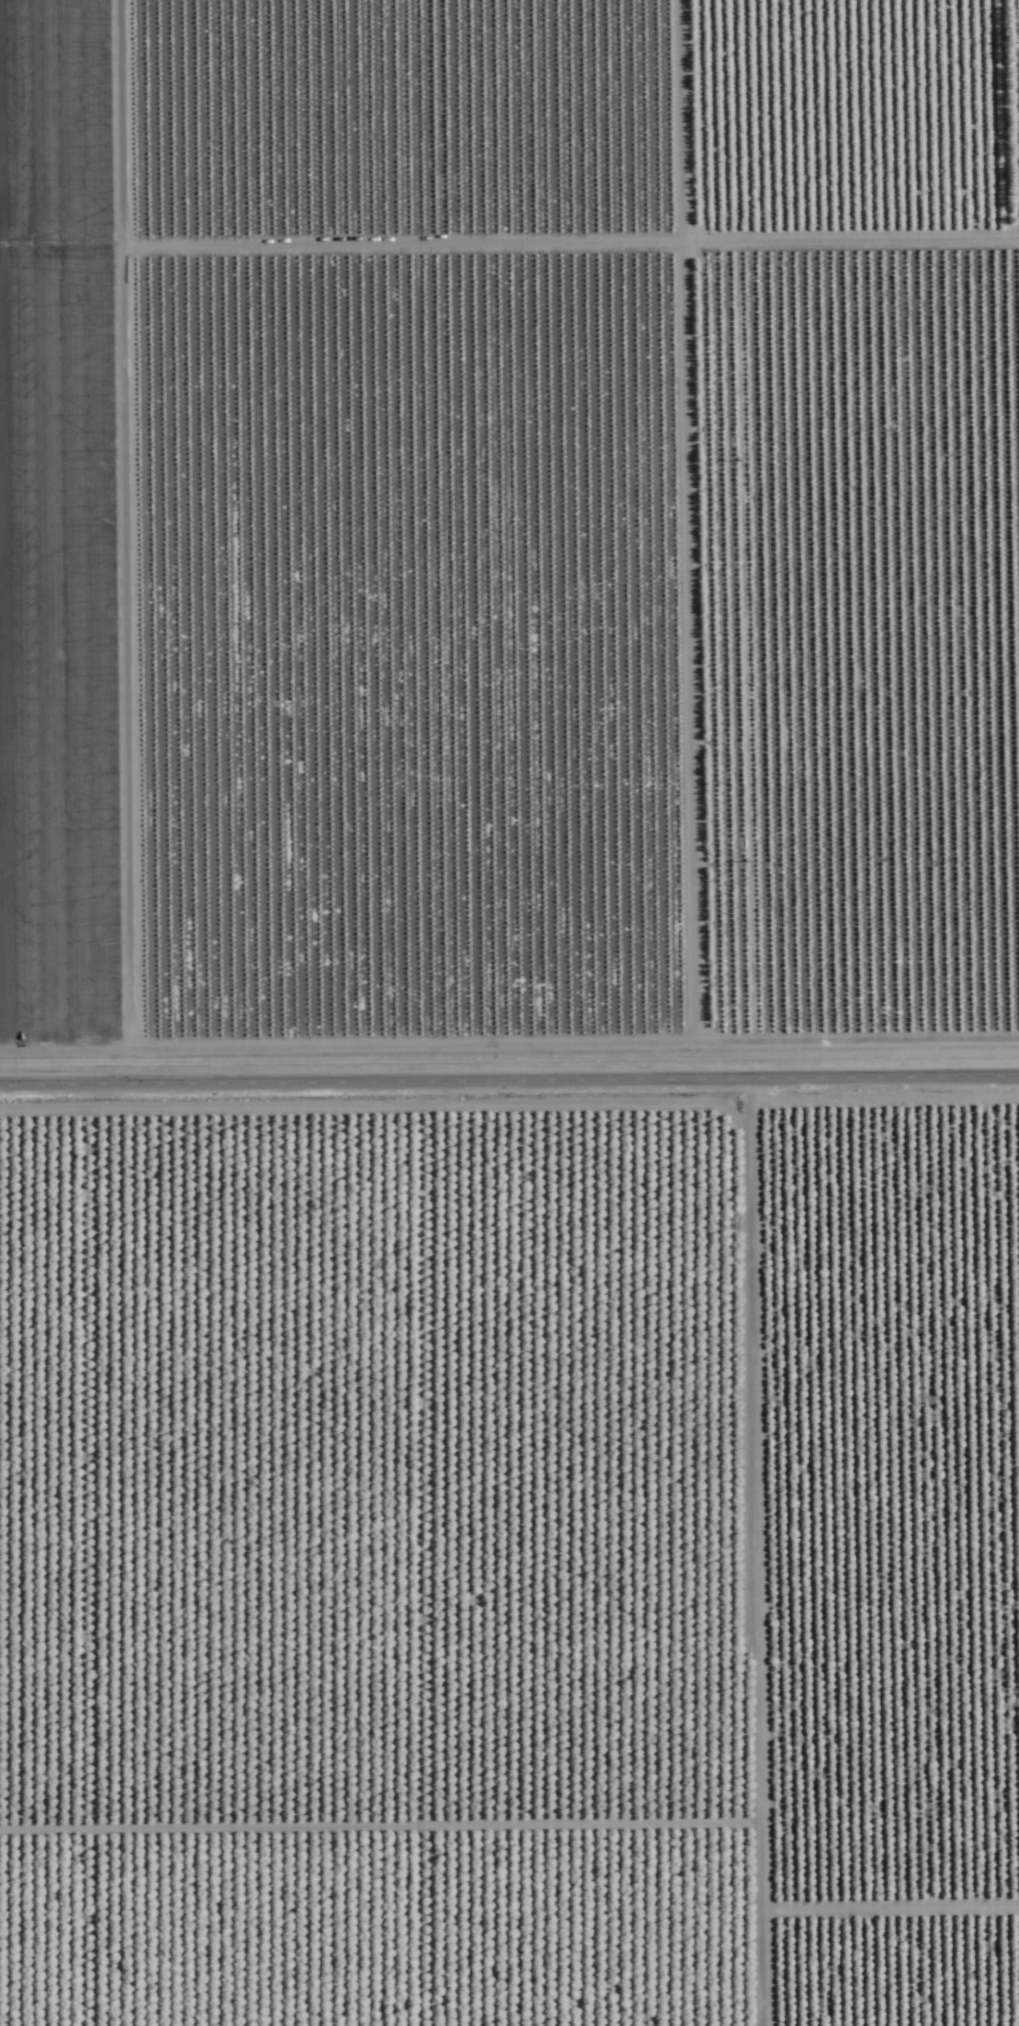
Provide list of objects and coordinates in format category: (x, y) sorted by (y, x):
road: (663, 540)
crop: (509, 1013)
road: (509, 1082)

